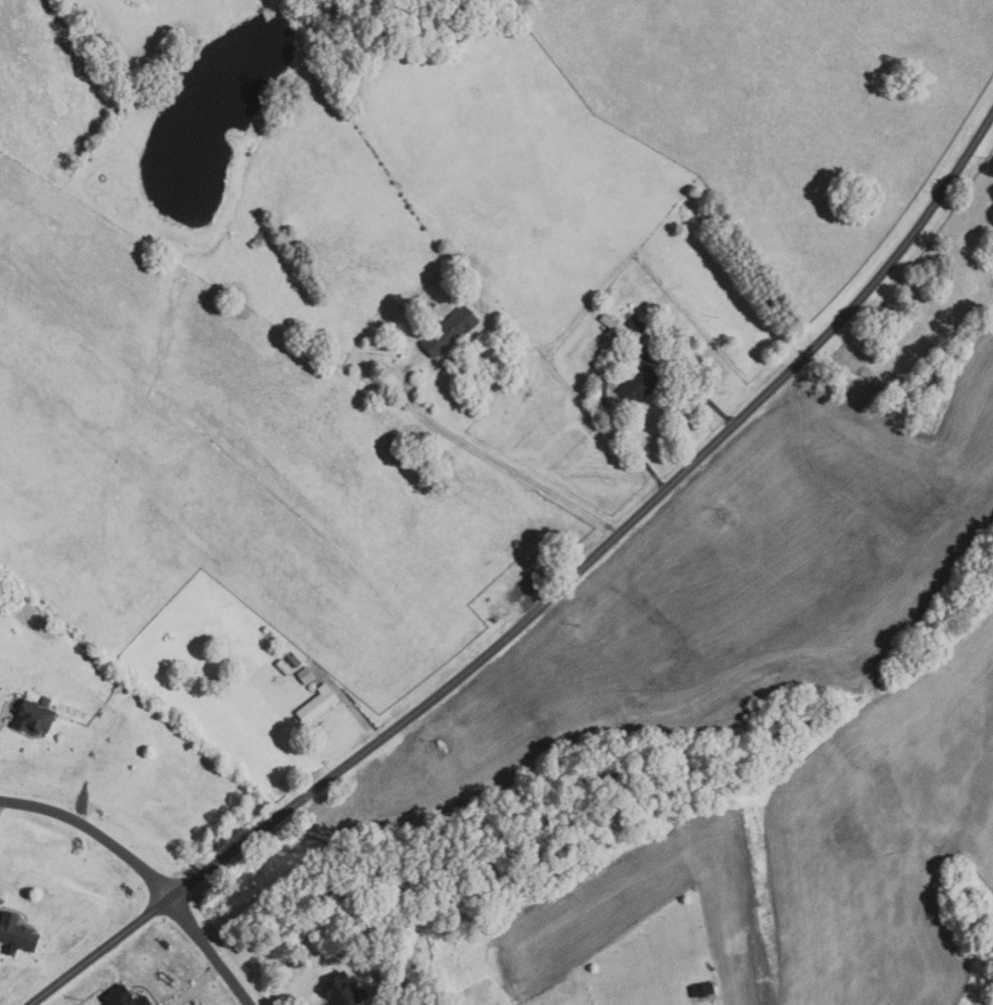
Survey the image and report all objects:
building: (262, 236)
building: (608, 322)
building: (637, 324)
building: (450, 331)
road: (615, 361)
building: (640, 385)
road: (499, 461)
road: (549, 600)
building: (294, 660)
building: (283, 666)
building: (305, 675)
road: (347, 702)
building: (318, 704)
road: (4, 714)
building: (33, 718)
road: (147, 873)
building: (16, 934)
road: (197, 985)
building: (703, 990)
building: (343, 991)
building: (124, 997)

